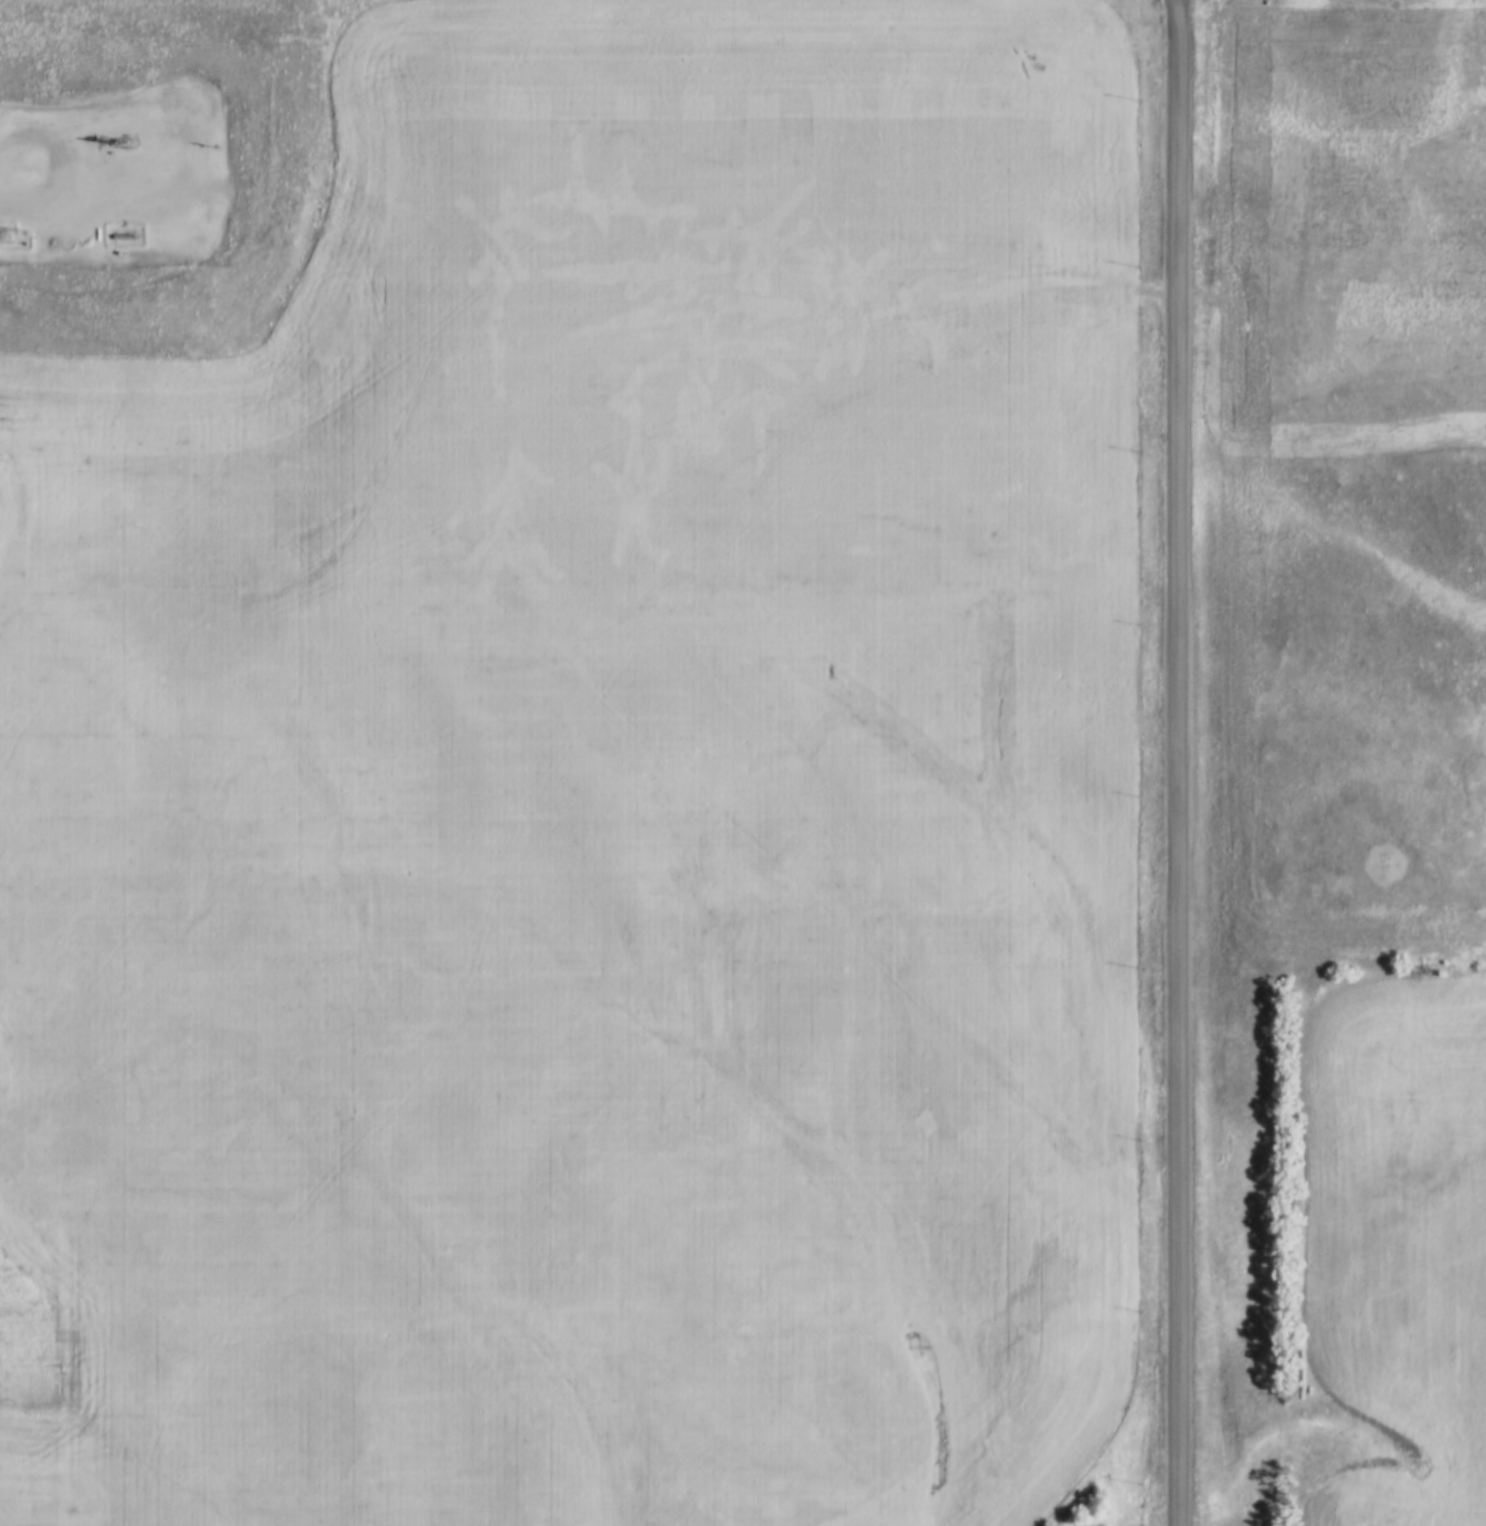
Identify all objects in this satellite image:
road: (1177, 763)

